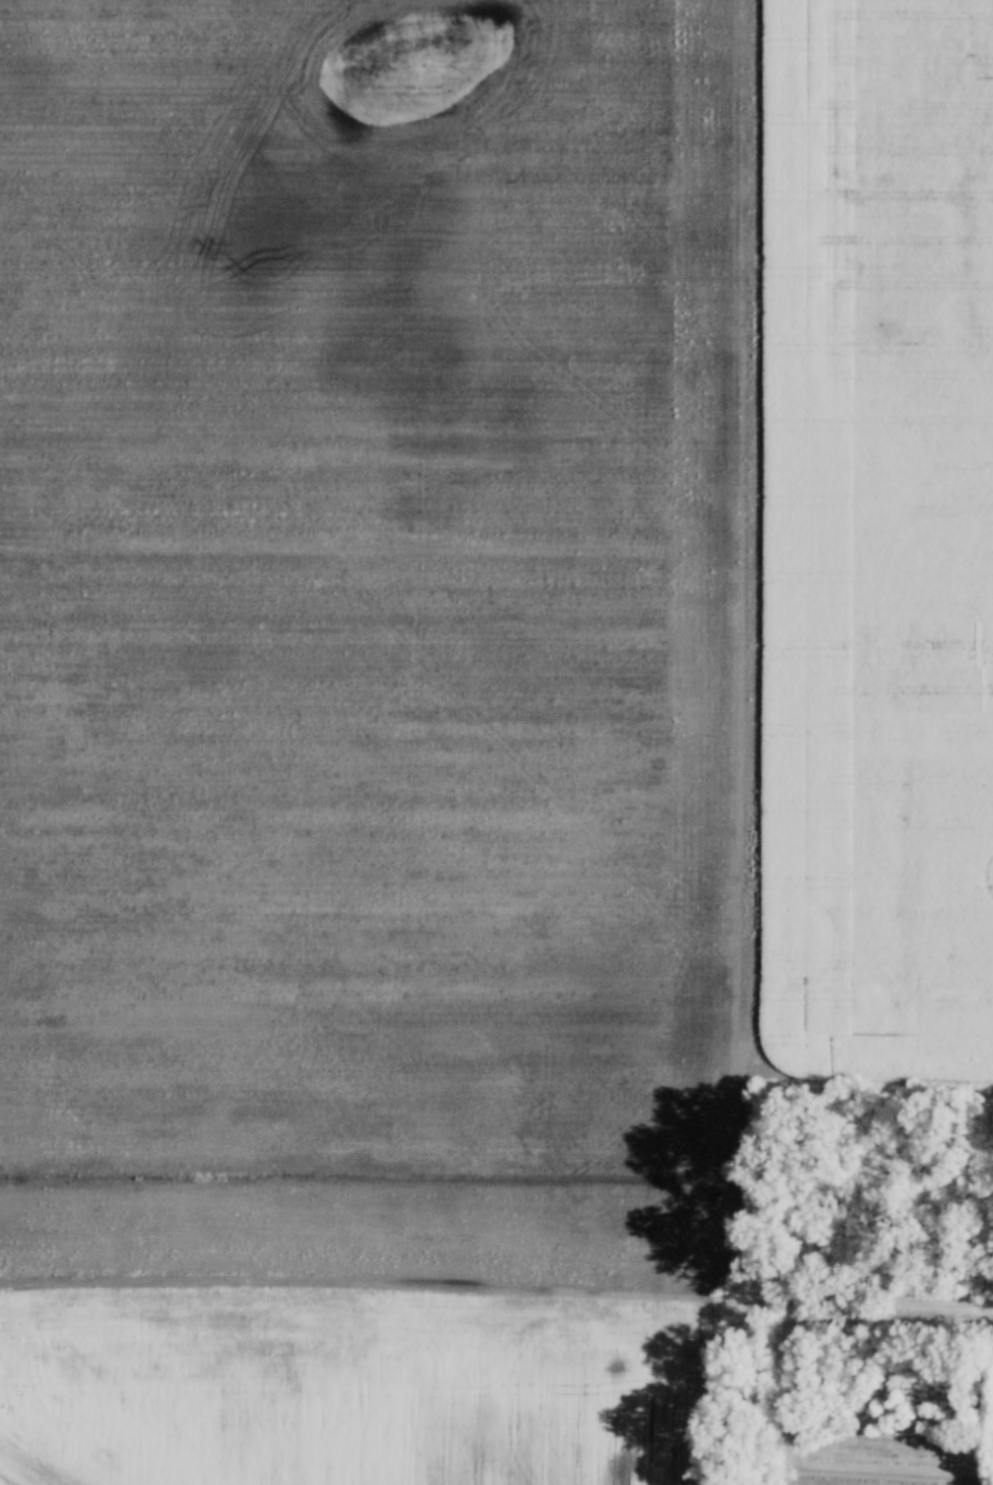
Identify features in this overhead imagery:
road: (496, 1294)

